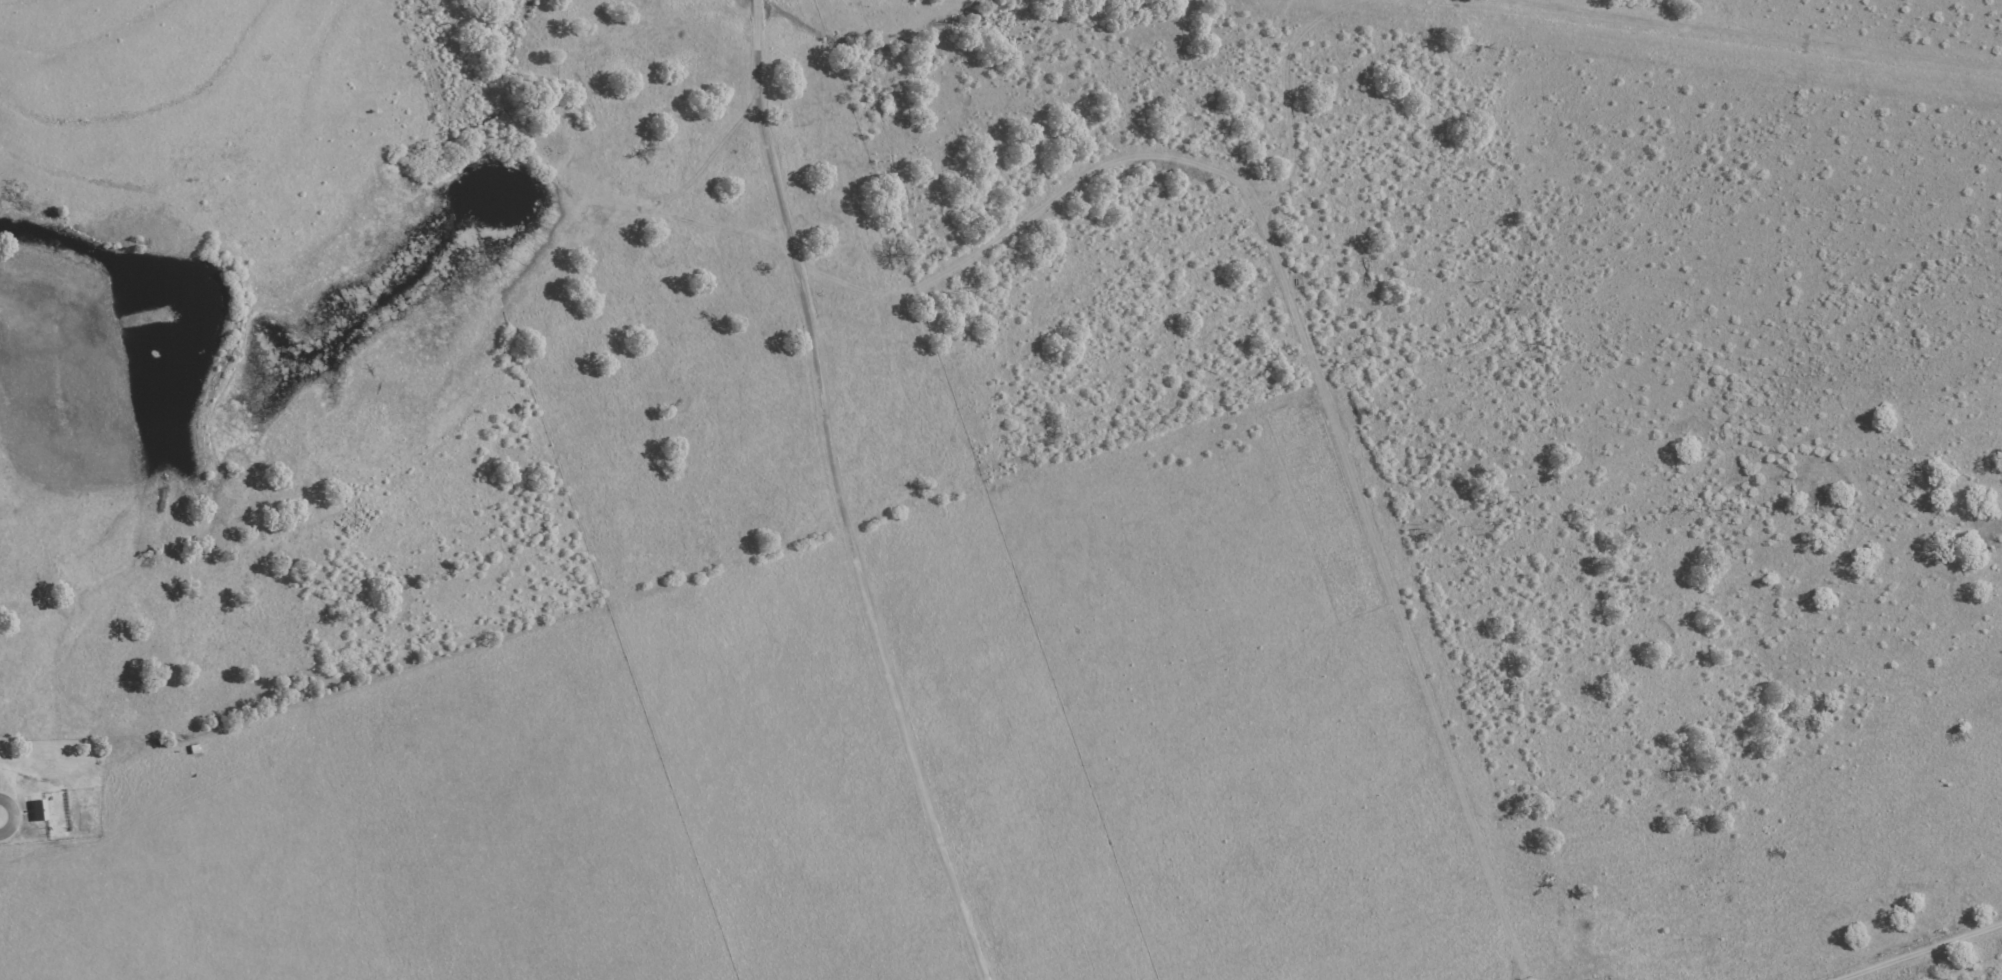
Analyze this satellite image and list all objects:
road: (1790, 172)
road: (1529, 352)
road: (1896, 377)
road: (1786, 394)
road: (847, 496)
road: (1709, 605)
road: (1901, 946)

